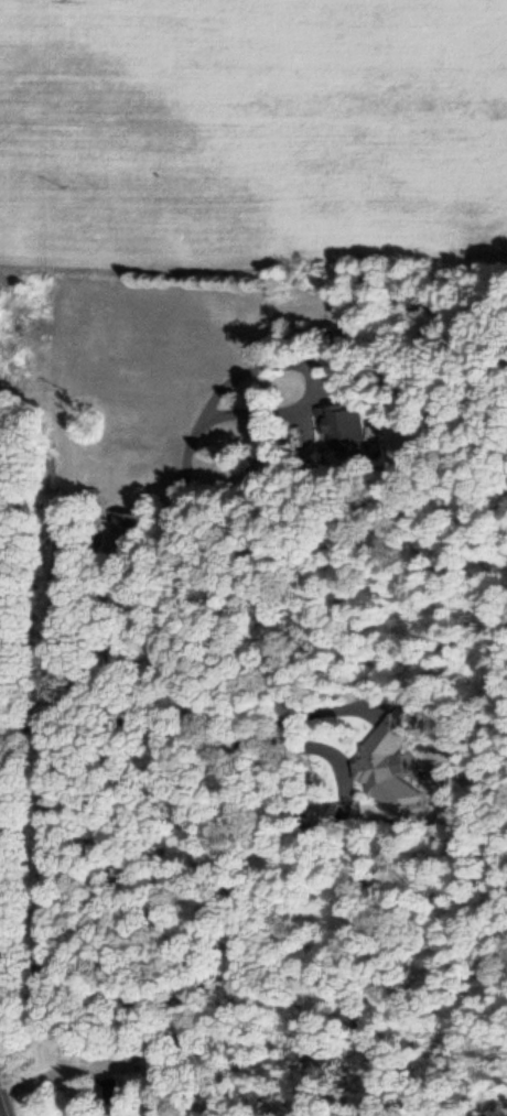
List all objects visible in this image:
building: (341, 427)
building: (121, 528)
building: (105, 1095)
road: (1, 1110)

